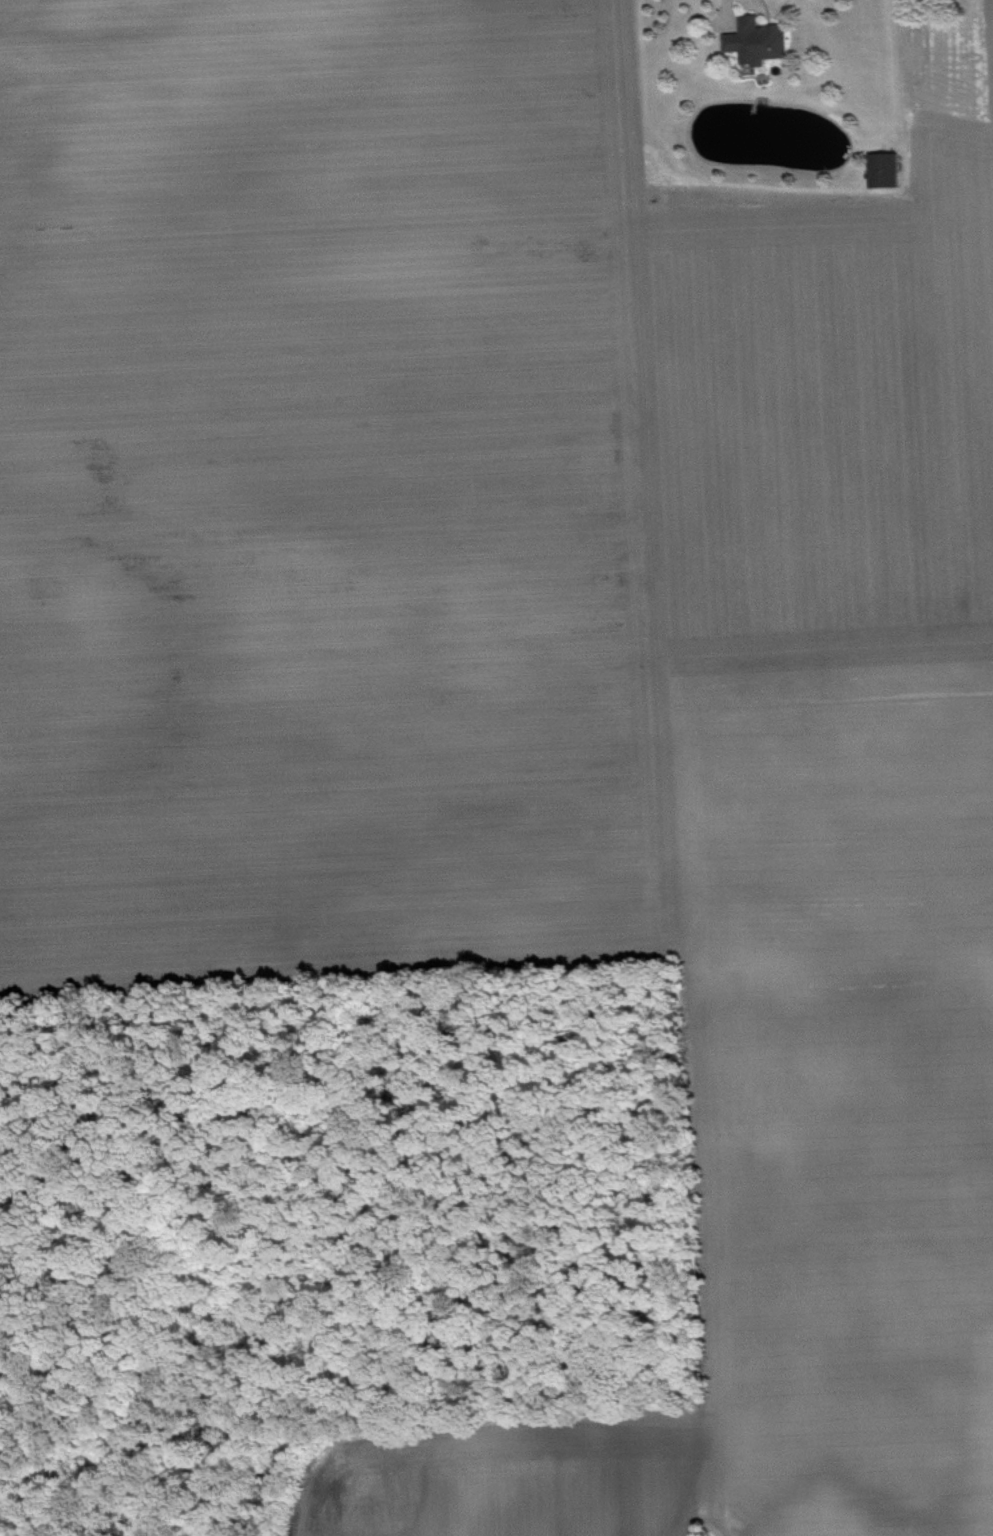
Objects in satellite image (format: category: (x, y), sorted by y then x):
road: (724, 12)
building: (764, 48)

